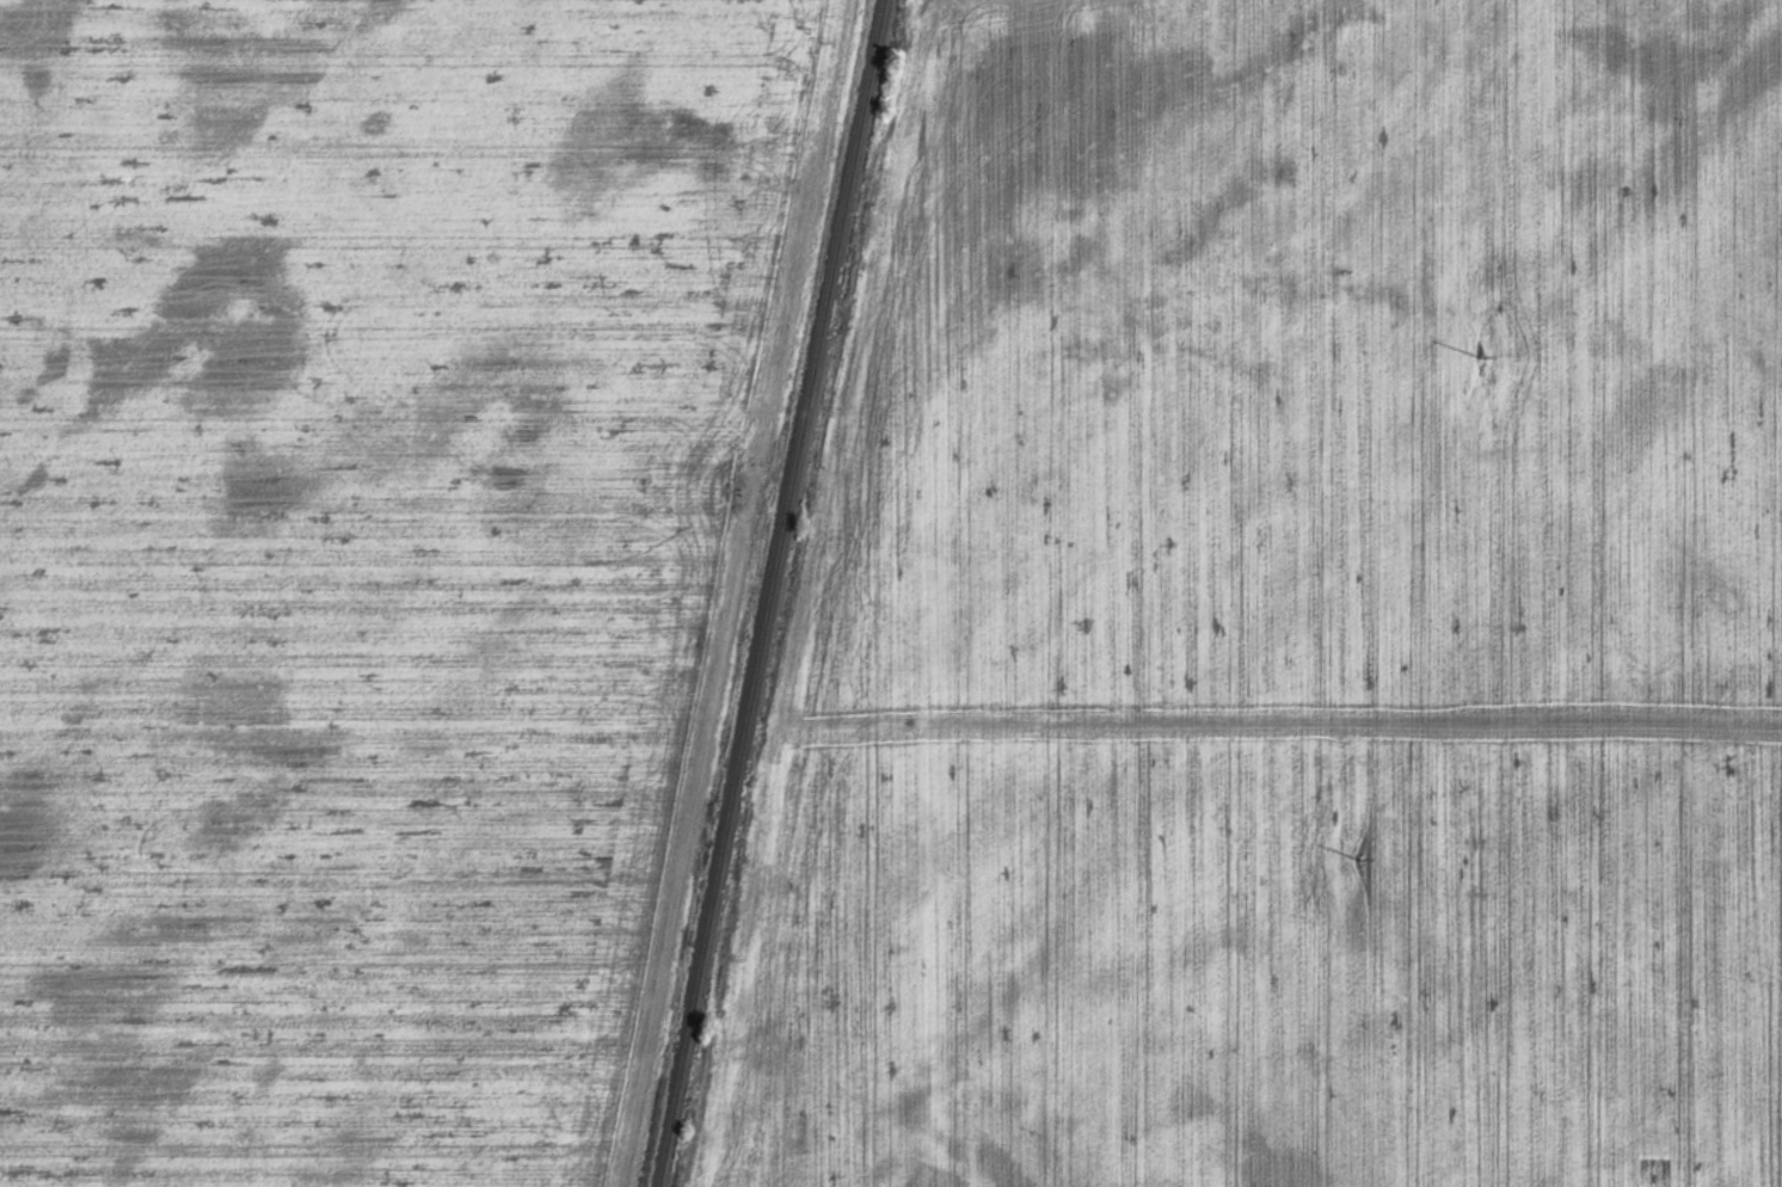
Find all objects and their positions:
railway: (769, 593)

